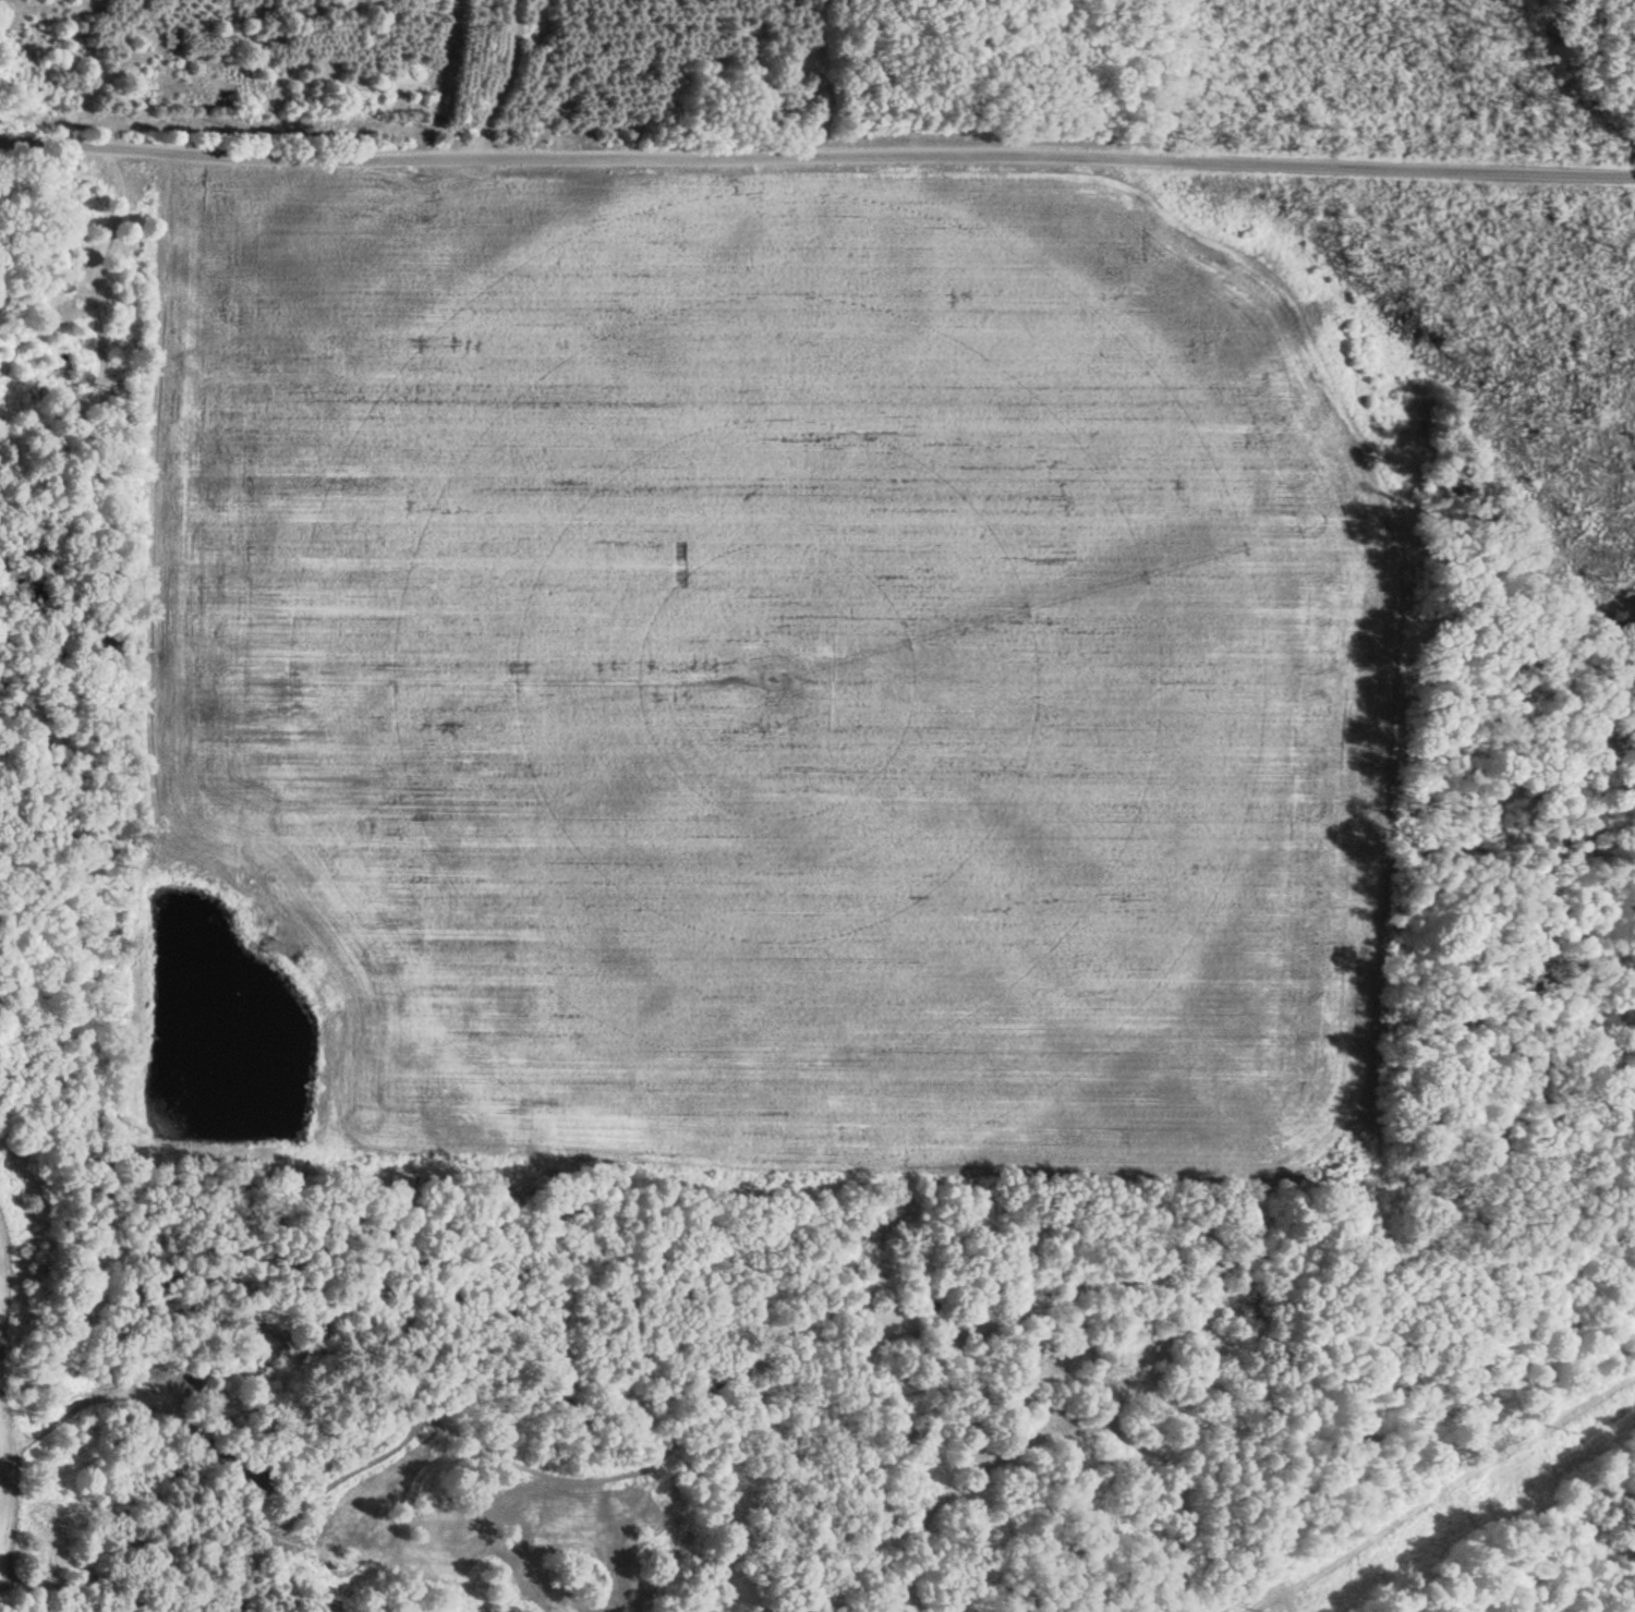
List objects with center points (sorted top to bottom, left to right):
road: (1469, 77)
road: (816, 154)
crop: (783, 655)
road: (1234, 710)
crop: (7, 1413)

